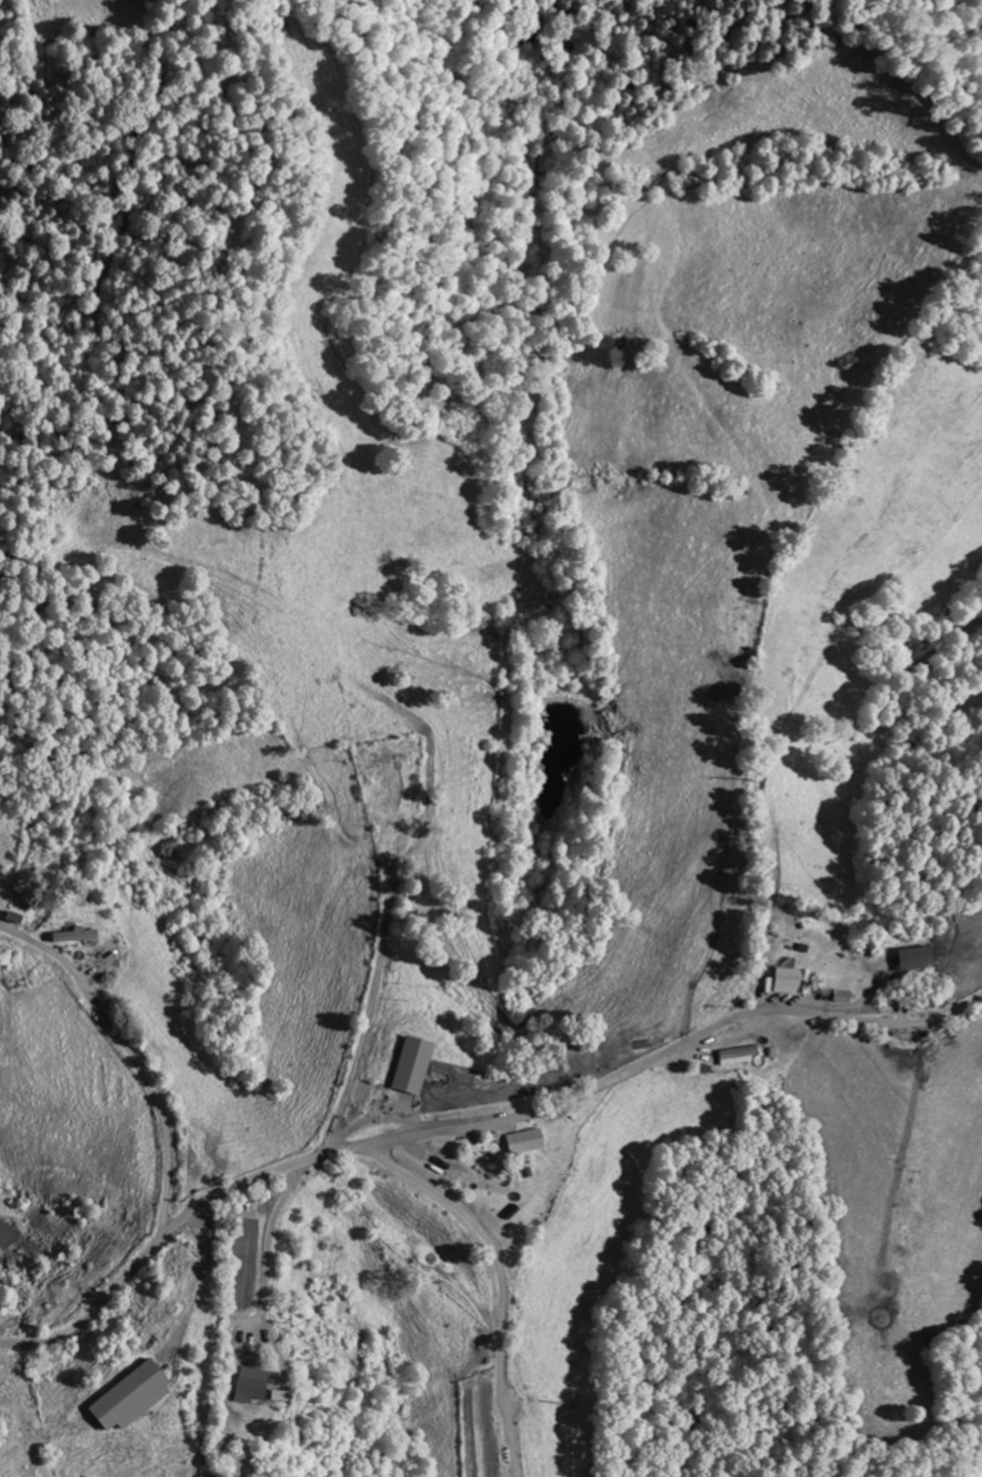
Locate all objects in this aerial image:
road: (700, 694)
building: (378, 761)
building: (7, 918)
building: (68, 936)
building: (910, 959)
building: (780, 973)
building: (836, 996)
building: (734, 1056)
building: (406, 1066)
road: (473, 1128)
building: (518, 1142)
building: (403, 1250)
building: (245, 1387)
road: (140, 1391)
building: (123, 1399)

